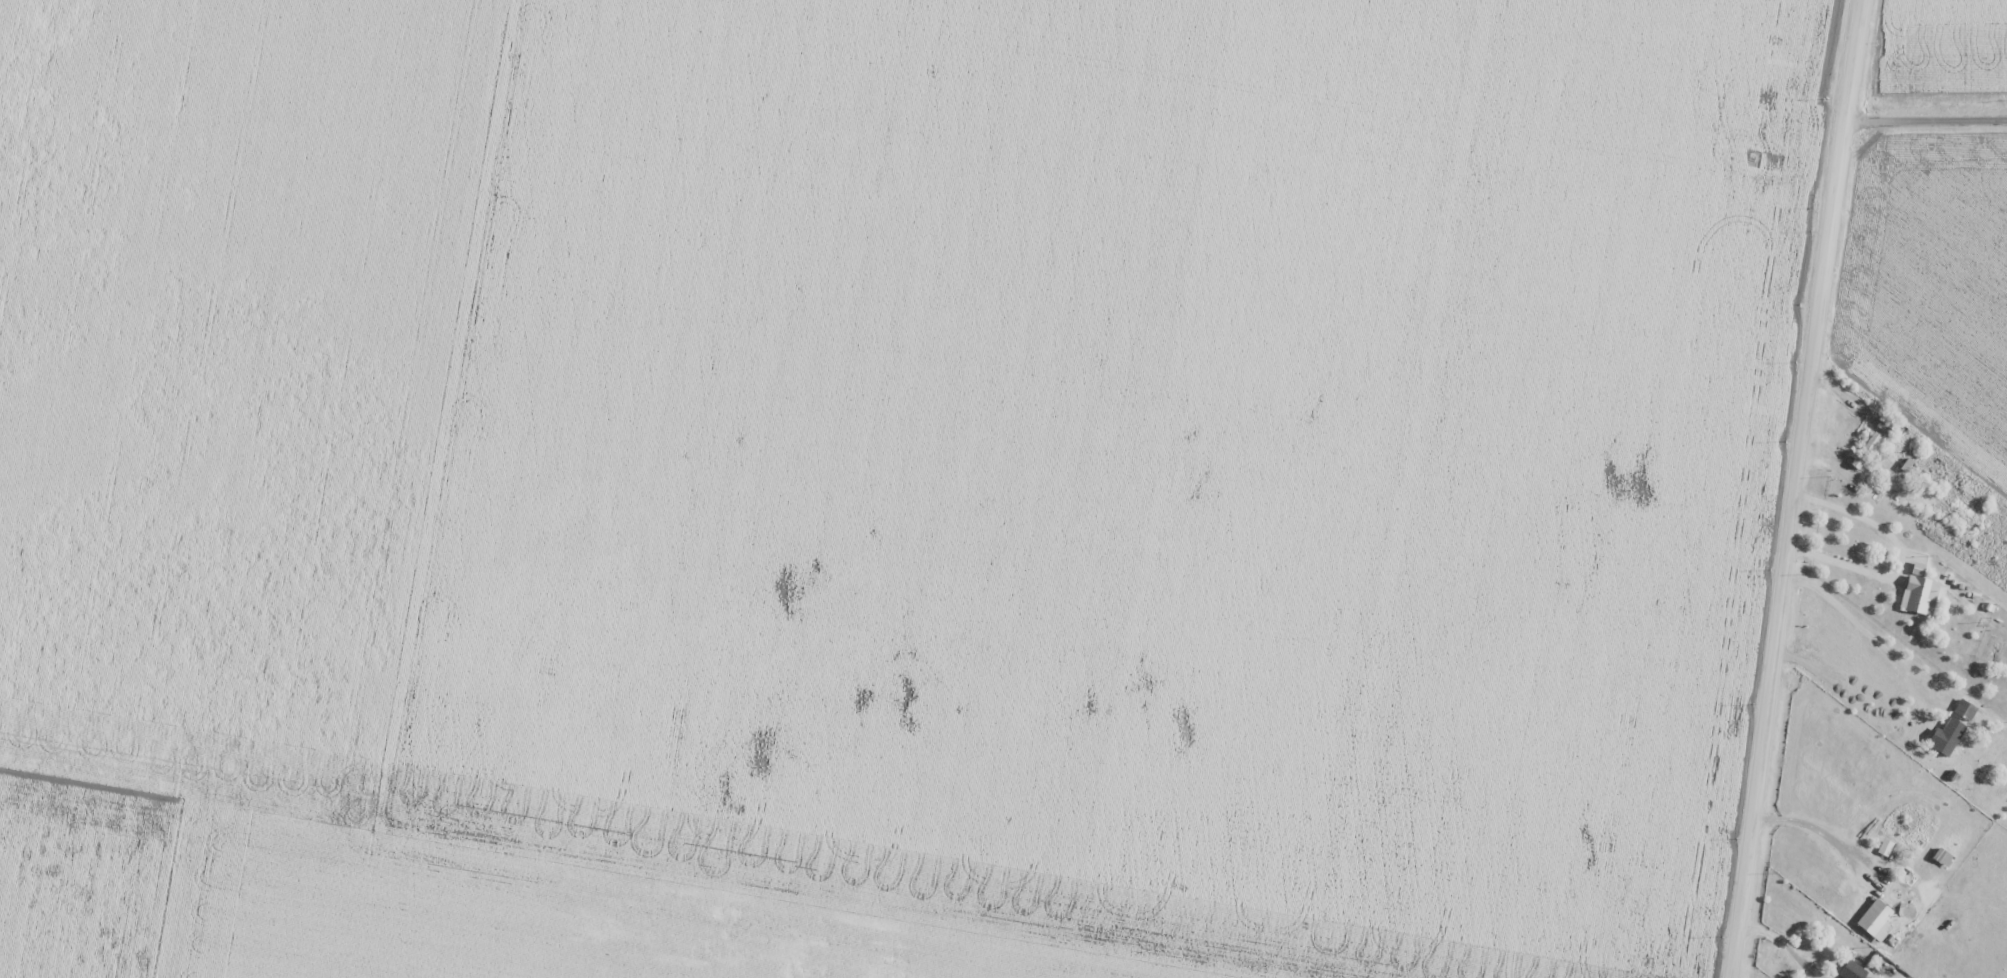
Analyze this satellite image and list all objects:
road: (1926, 122)
building: (1865, 451)
road: (1796, 488)
building: (1919, 595)
building: (1951, 729)
building: (1906, 825)
building: (1944, 861)
building: (1873, 917)
road: (1781, 946)
building: (1853, 971)

